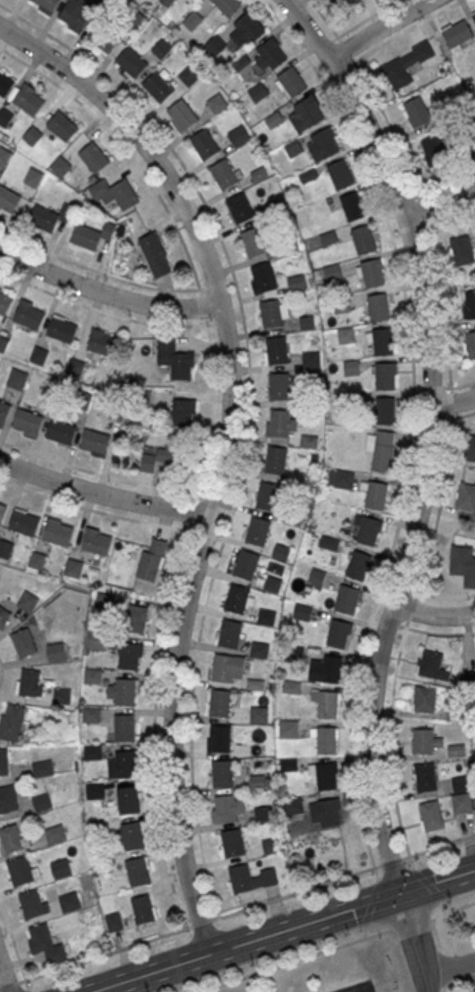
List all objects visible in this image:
building: (331, 0)
building: (102, 2)
building: (47, 4)
building: (227, 6)
building: (74, 17)
building: (474, 17)
road: (326, 19)
road: (364, 20)
building: (250, 27)
road: (380, 27)
road: (404, 31)
building: (458, 34)
building: (103, 39)
road: (327, 44)
road: (346, 48)
building: (162, 49)
building: (272, 54)
building: (131, 63)
building: (404, 66)
road: (344, 68)
building: (190, 76)
building: (292, 82)
building: (5, 85)
building: (158, 87)
building: (258, 93)
building: (28, 102)
building: (217, 104)
building: (418, 113)
building: (182, 115)
building: (306, 115)
building: (61, 126)
building: (32, 136)
building: (238, 136)
building: (204, 144)
building: (323, 144)
road: (126, 150)
building: (435, 152)
building: (4, 157)
building: (93, 158)
building: (60, 166)
building: (224, 175)
building: (340, 175)
building: (33, 178)
road: (443, 186)
building: (124, 195)
road: (406, 199)
building: (8, 200)
road: (441, 203)
building: (352, 206)
building: (240, 209)
road: (447, 216)
building: (43, 219)
road: (415, 230)
building: (86, 237)
building: (364, 240)
building: (252, 243)
building: (151, 249)
building: (462, 251)
road: (100, 273)
building: (371, 274)
building: (264, 277)
road: (212, 289)
road: (107, 294)
building: (4, 304)
building: (469, 304)
road: (203, 305)
building: (341, 305)
building: (378, 308)
road: (103, 312)
building: (28, 316)
building: (272, 316)
road: (446, 321)
road: (219, 324)
building: (62, 330)
building: (346, 335)
building: (382, 342)
building: (101, 344)
building: (470, 345)
building: (276, 351)
building: (38, 356)
building: (175, 360)
building: (311, 360)
building: (351, 367)
building: (75, 369)
building: (385, 377)
building: (17, 379)
road: (454, 386)
building: (279, 388)
building: (82, 402)
road: (452, 403)
building: (4, 411)
building: (385, 411)
building: (183, 413)
road: (249, 416)
road: (452, 417)
building: (28, 422)
building: (280, 424)
road: (412, 425)
building: (61, 433)
road: (428, 434)
building: (94, 442)
building: (470, 448)
road: (227, 453)
building: (381, 458)
building: (275, 461)
road: (98, 471)
building: (342, 479)
road: (104, 495)
building: (376, 496)
building: (267, 497)
building: (466, 497)
road: (95, 509)
building: (2, 513)
building: (23, 524)
building: (368, 531)
road: (200, 533)
building: (258, 533)
building: (58, 534)
building: (96, 543)
building: (5, 550)
building: (281, 553)
building: (36, 560)
building: (151, 561)
building: (463, 564)
building: (247, 566)
building: (358, 567)
building: (73, 568)
building: (316, 578)
building: (272, 585)
road: (404, 588)
road: (442, 596)
building: (346, 600)
building: (28, 601)
building: (237, 601)
road: (410, 609)
building: (303, 613)
building: (4, 616)
road: (432, 616)
building: (266, 618)
building: (136, 620)
road: (164, 620)
road: (394, 622)
road: (437, 633)
building: (230, 635)
building: (338, 635)
building: (23, 641)
building: (97, 641)
building: (55, 651)
building: (259, 651)
building: (294, 655)
building: (129, 657)
building: (432, 666)
road: (1, 669)
building: (228, 669)
building: (332, 670)
building: (92, 675)
building: (30, 683)
building: (125, 694)
building: (425, 700)
building: (220, 705)
building: (327, 706)
building: (259, 714)
building: (12, 723)
building: (288, 728)
building: (124, 729)
building: (221, 740)
building: (326, 741)
building: (422, 743)
road: (390, 744)
building: (456, 750)
building: (3, 764)
building: (288, 764)
building: (123, 767)
building: (43, 769)
building: (222, 775)
building: (326, 777)
building: (425, 778)
building: (257, 782)
building: (461, 794)
building: (8, 801)
building: (128, 802)
building: (42, 804)
building: (294, 805)
building: (226, 810)
building: (329, 813)
building: (263, 814)
building: (431, 817)
building: (56, 836)
building: (133, 837)
building: (11, 840)
building: (233, 844)
building: (271, 845)
road: (439, 847)
road: (392, 862)
building: (103, 866)
building: (61, 870)
building: (21, 872)
building: (138, 873)
building: (241, 879)
road: (428, 883)
road: (296, 892)
traffic signals: (404, 896)
road: (371, 901)
building: (69, 903)
road: (446, 905)
building: (31, 906)
road: (452, 909)
building: (143, 911)
building: (113, 922)
road: (201, 922)
road: (410, 922)
road: (364, 930)
road: (285, 932)
road: (434, 933)
road: (14, 943)
road: (418, 943)
building: (46, 946)
road: (104, 953)
road: (292, 959)
road: (443, 966)
road: (451, 968)
road: (5, 975)
road: (457, 977)
building: (474, 979)
building: (473, 982)
road: (9, 984)
road: (441, 989)
road: (28, 991)

